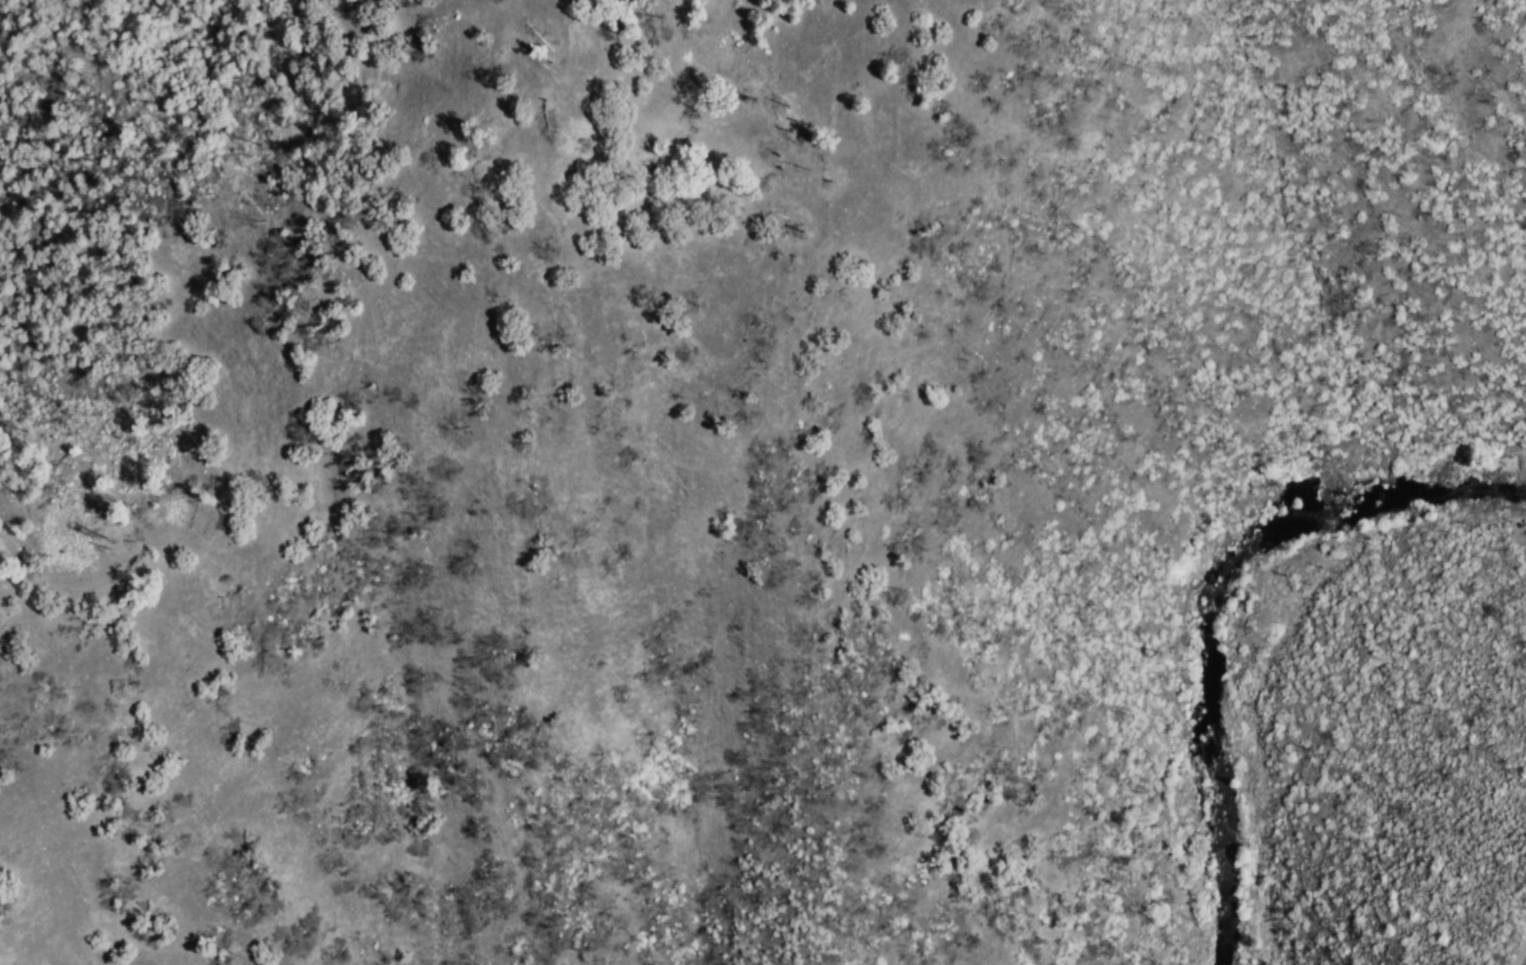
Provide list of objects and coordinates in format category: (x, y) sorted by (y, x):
river: (1218, 605)

